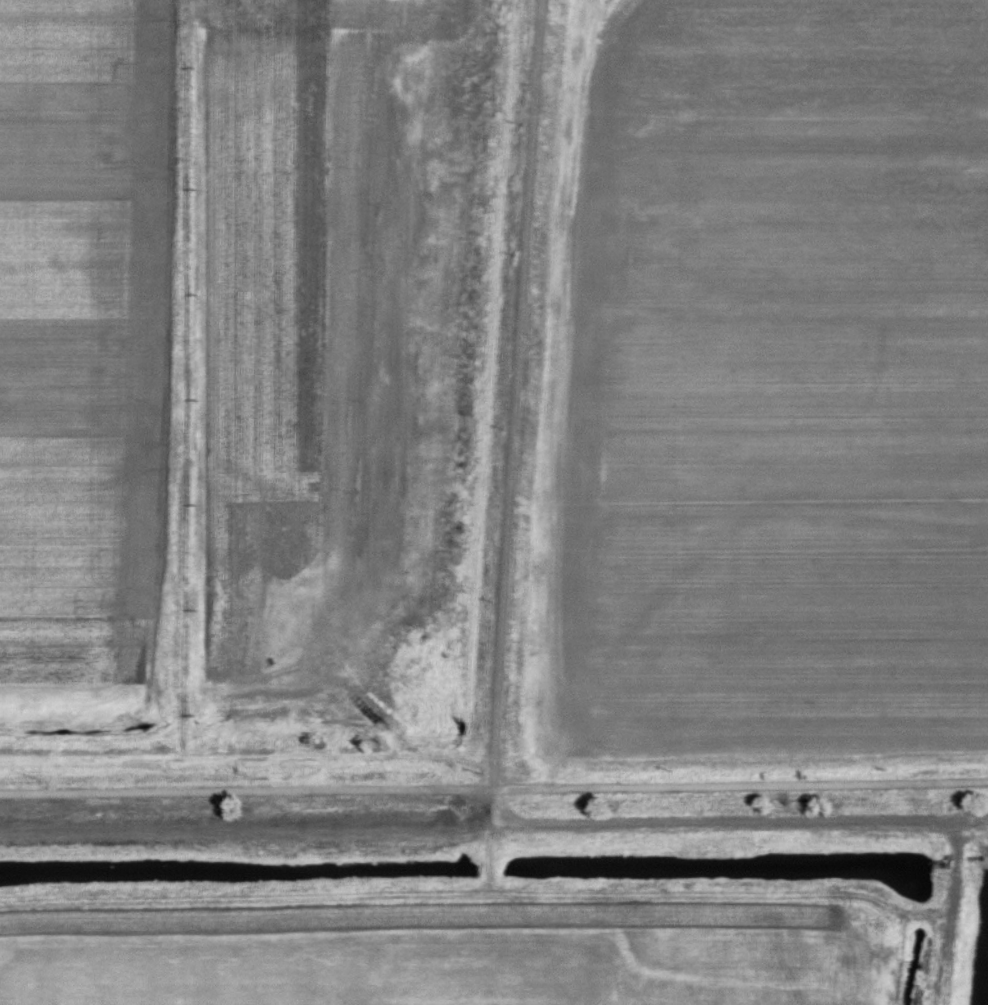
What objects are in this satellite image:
road: (494, 787)

